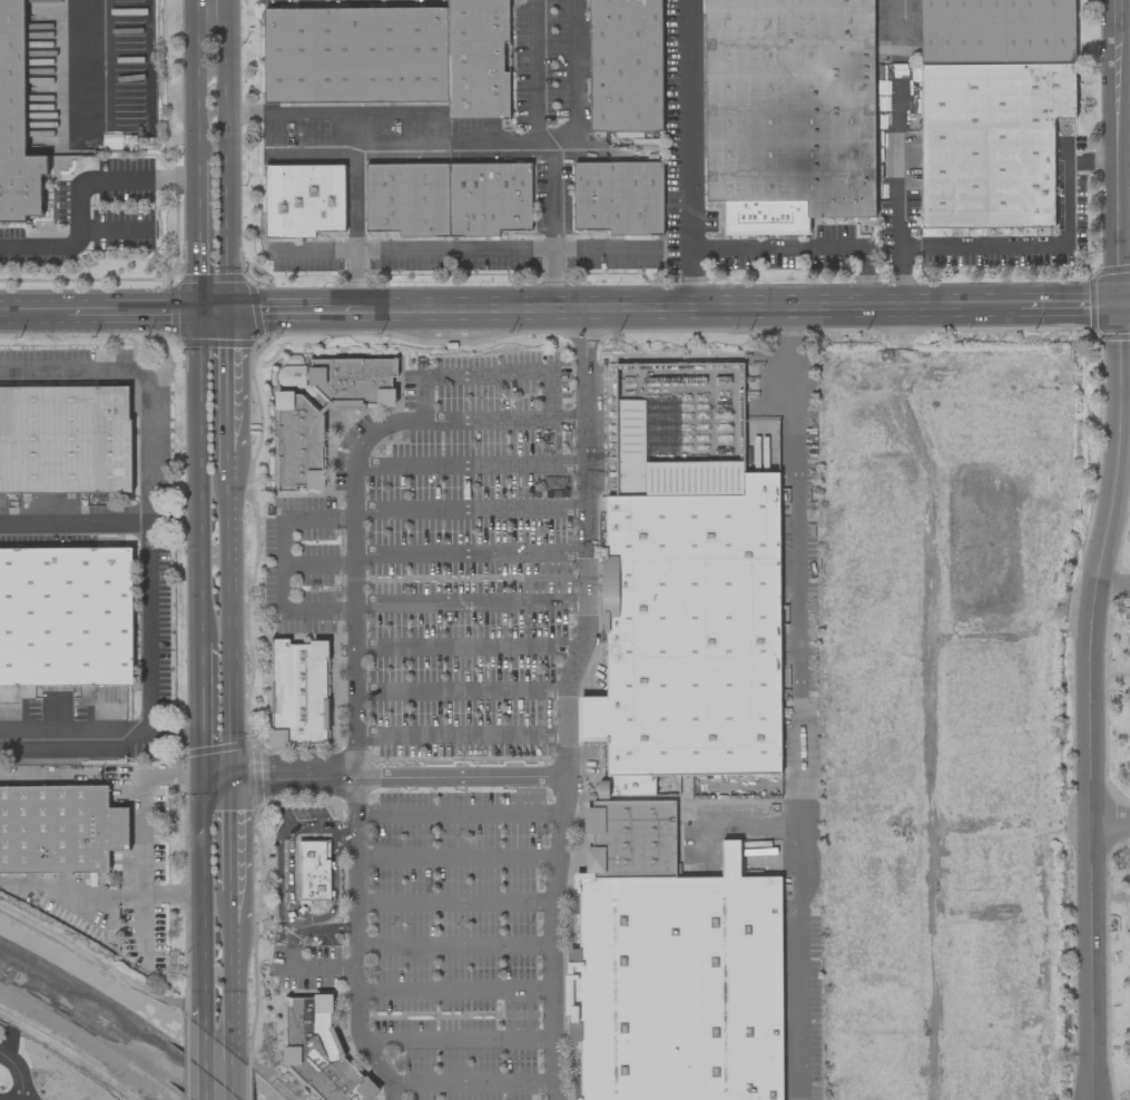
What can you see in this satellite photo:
road: (1123, 9)
road: (895, 19)
building: (391, 57)
building: (625, 66)
road: (94, 72)
road: (194, 81)
road: (576, 86)
building: (992, 109)
building: (788, 112)
building: (16, 122)
road: (691, 122)
road: (446, 143)
road: (355, 147)
road: (551, 149)
road: (1118, 150)
road: (224, 155)
road: (1092, 158)
road: (898, 171)
road: (81, 197)
building: (618, 198)
building: (448, 199)
building: (303, 200)
road: (196, 236)
road: (777, 246)
road: (1005, 248)
road: (463, 249)
road: (1126, 301)
traffic signals: (1121, 302)
road: (560, 307)
traffic signals: (196, 311)
traffic signals: (225, 311)
road: (484, 374)
road: (225, 380)
road: (547, 394)
road: (422, 396)
building: (299, 426)
building: (65, 440)
road: (226, 460)
road: (470, 464)
road: (196, 478)
road: (148, 483)
road: (470, 510)
road: (318, 518)
road: (98, 522)
road: (470, 552)
road: (284, 564)
road: (318, 566)
road: (1112, 585)
road: (470, 601)
road: (318, 611)
building: (66, 617)
road: (228, 627)
road: (468, 648)
road: (354, 659)
road: (461, 693)
building: (298, 694)
road: (1090, 699)
road: (566, 701)
road: (794, 701)
road: (199, 713)
road: (460, 737)
road: (46, 738)
road: (115, 738)
road: (170, 739)
building: (691, 757)
road: (39, 775)
road: (96, 775)
road: (157, 777)
road: (396, 777)
road: (215, 780)
road: (459, 815)
road: (1112, 824)
building: (59, 829)
road: (229, 836)
road: (456, 858)
building: (314, 872)
road: (278, 877)
road: (65, 888)
road: (166, 894)
road: (455, 901)
road: (230, 909)
road: (202, 910)
road: (453, 947)
road: (303, 968)
road: (230, 981)
road: (453, 989)
road: (454, 1039)
building: (321, 1051)
road: (219, 1067)
road: (19, 1072)
road: (471, 1086)

